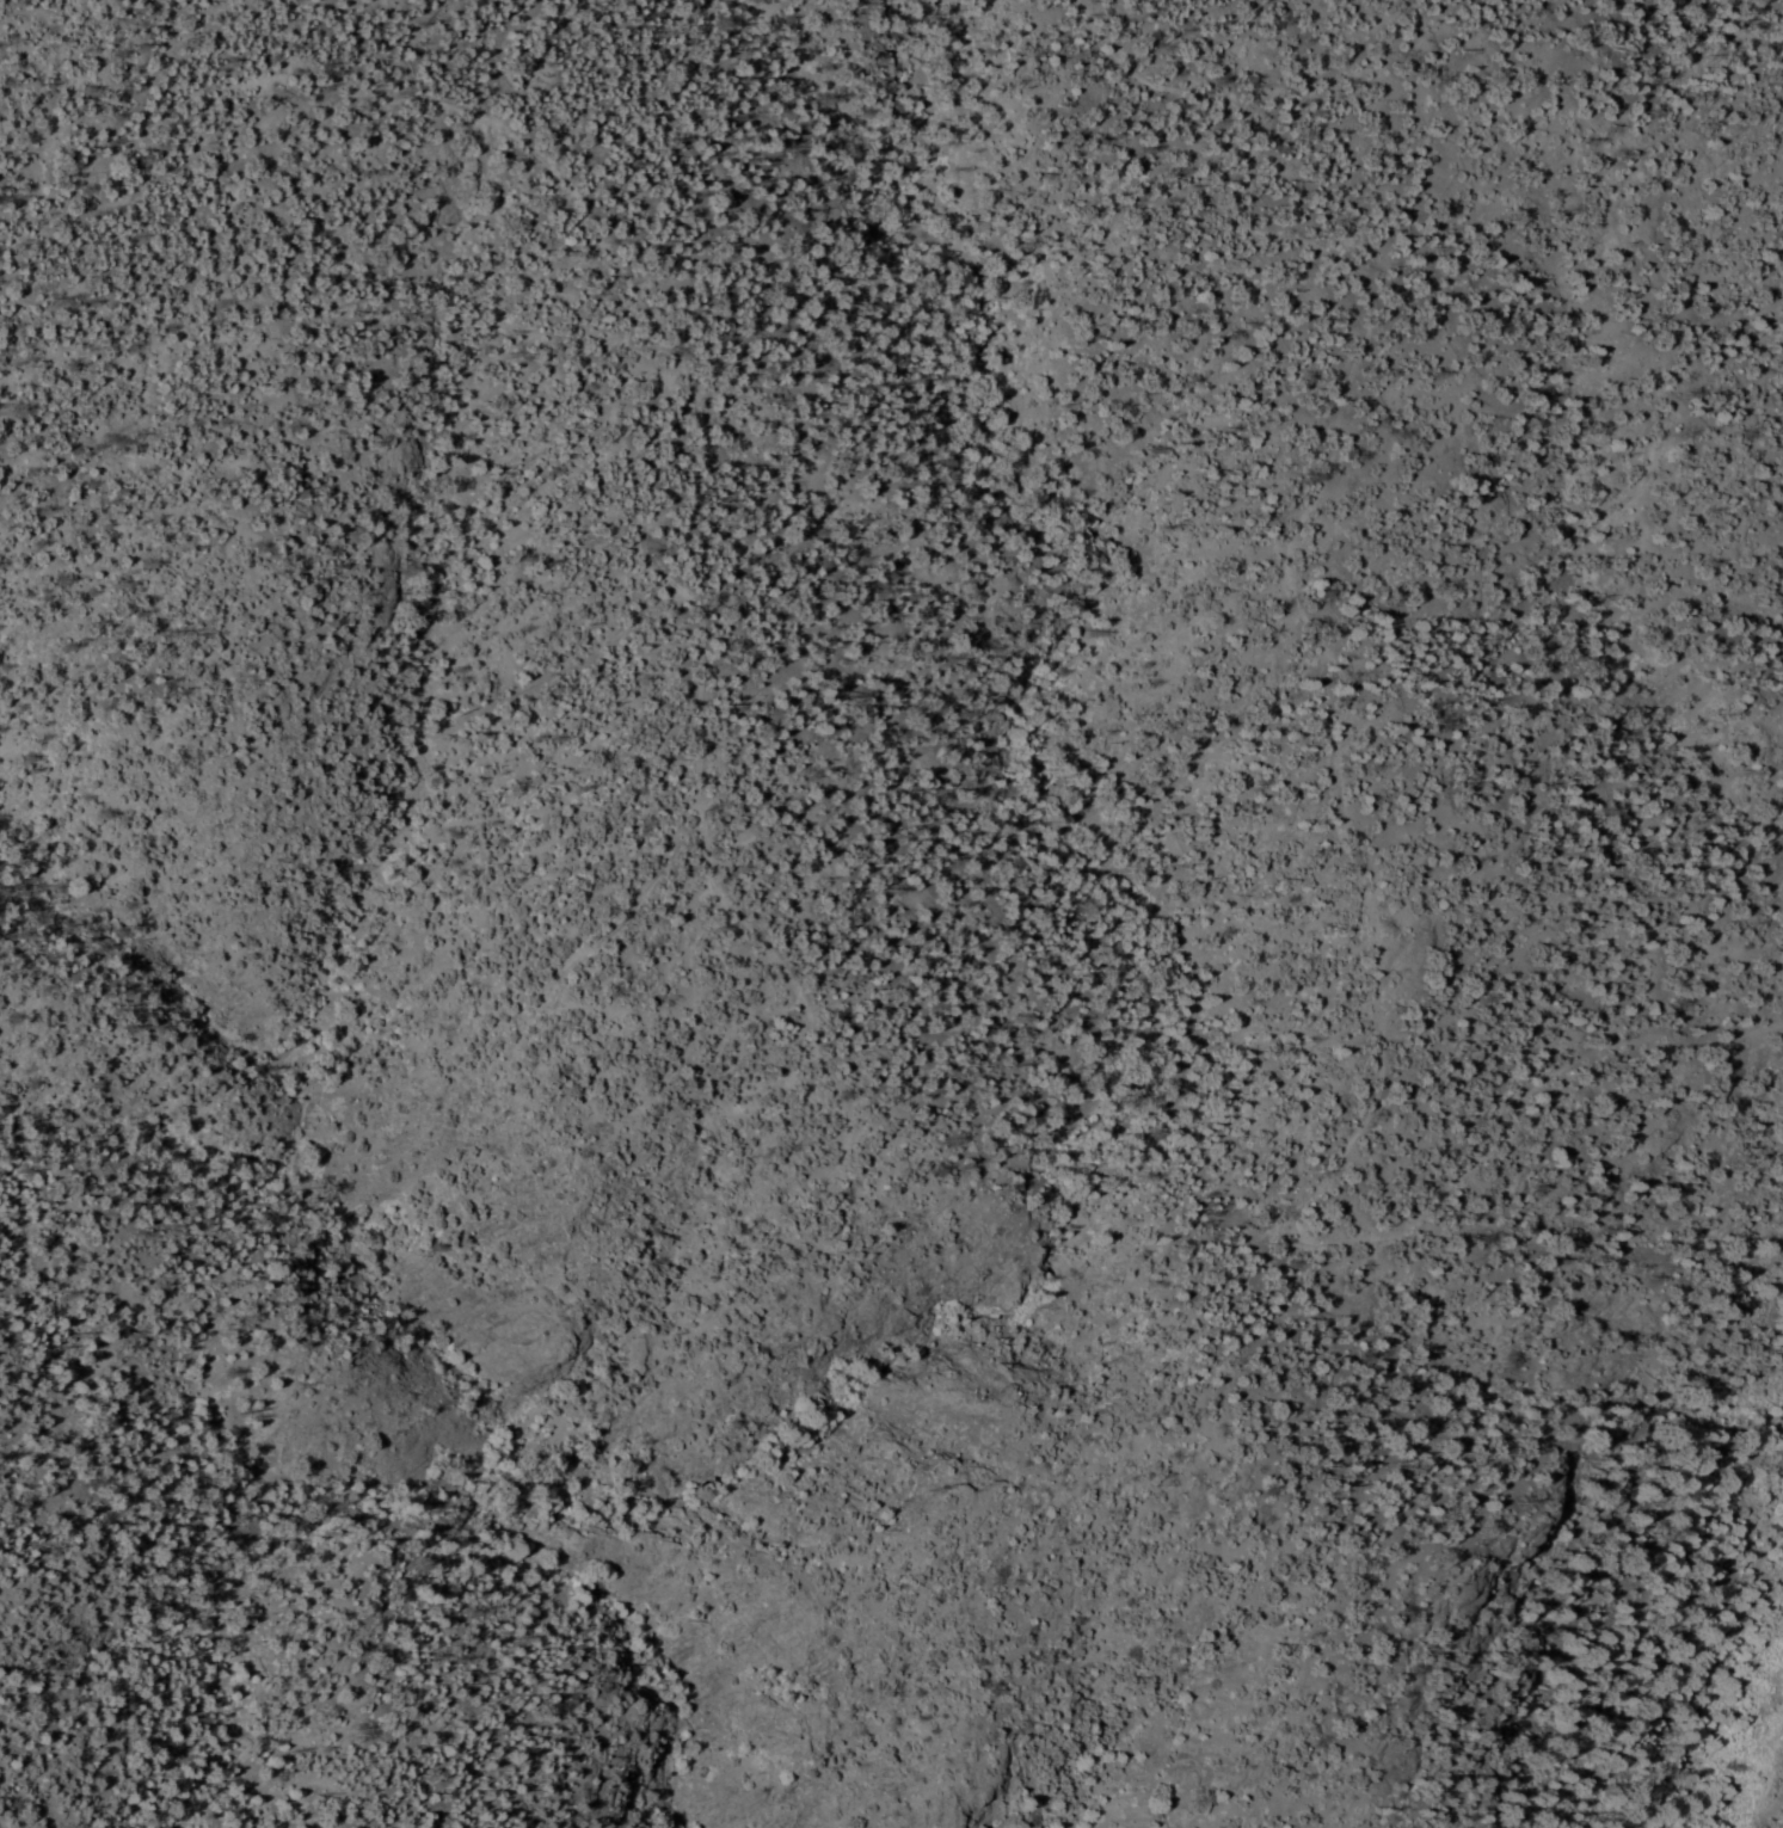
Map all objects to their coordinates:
road: (623, 507)

